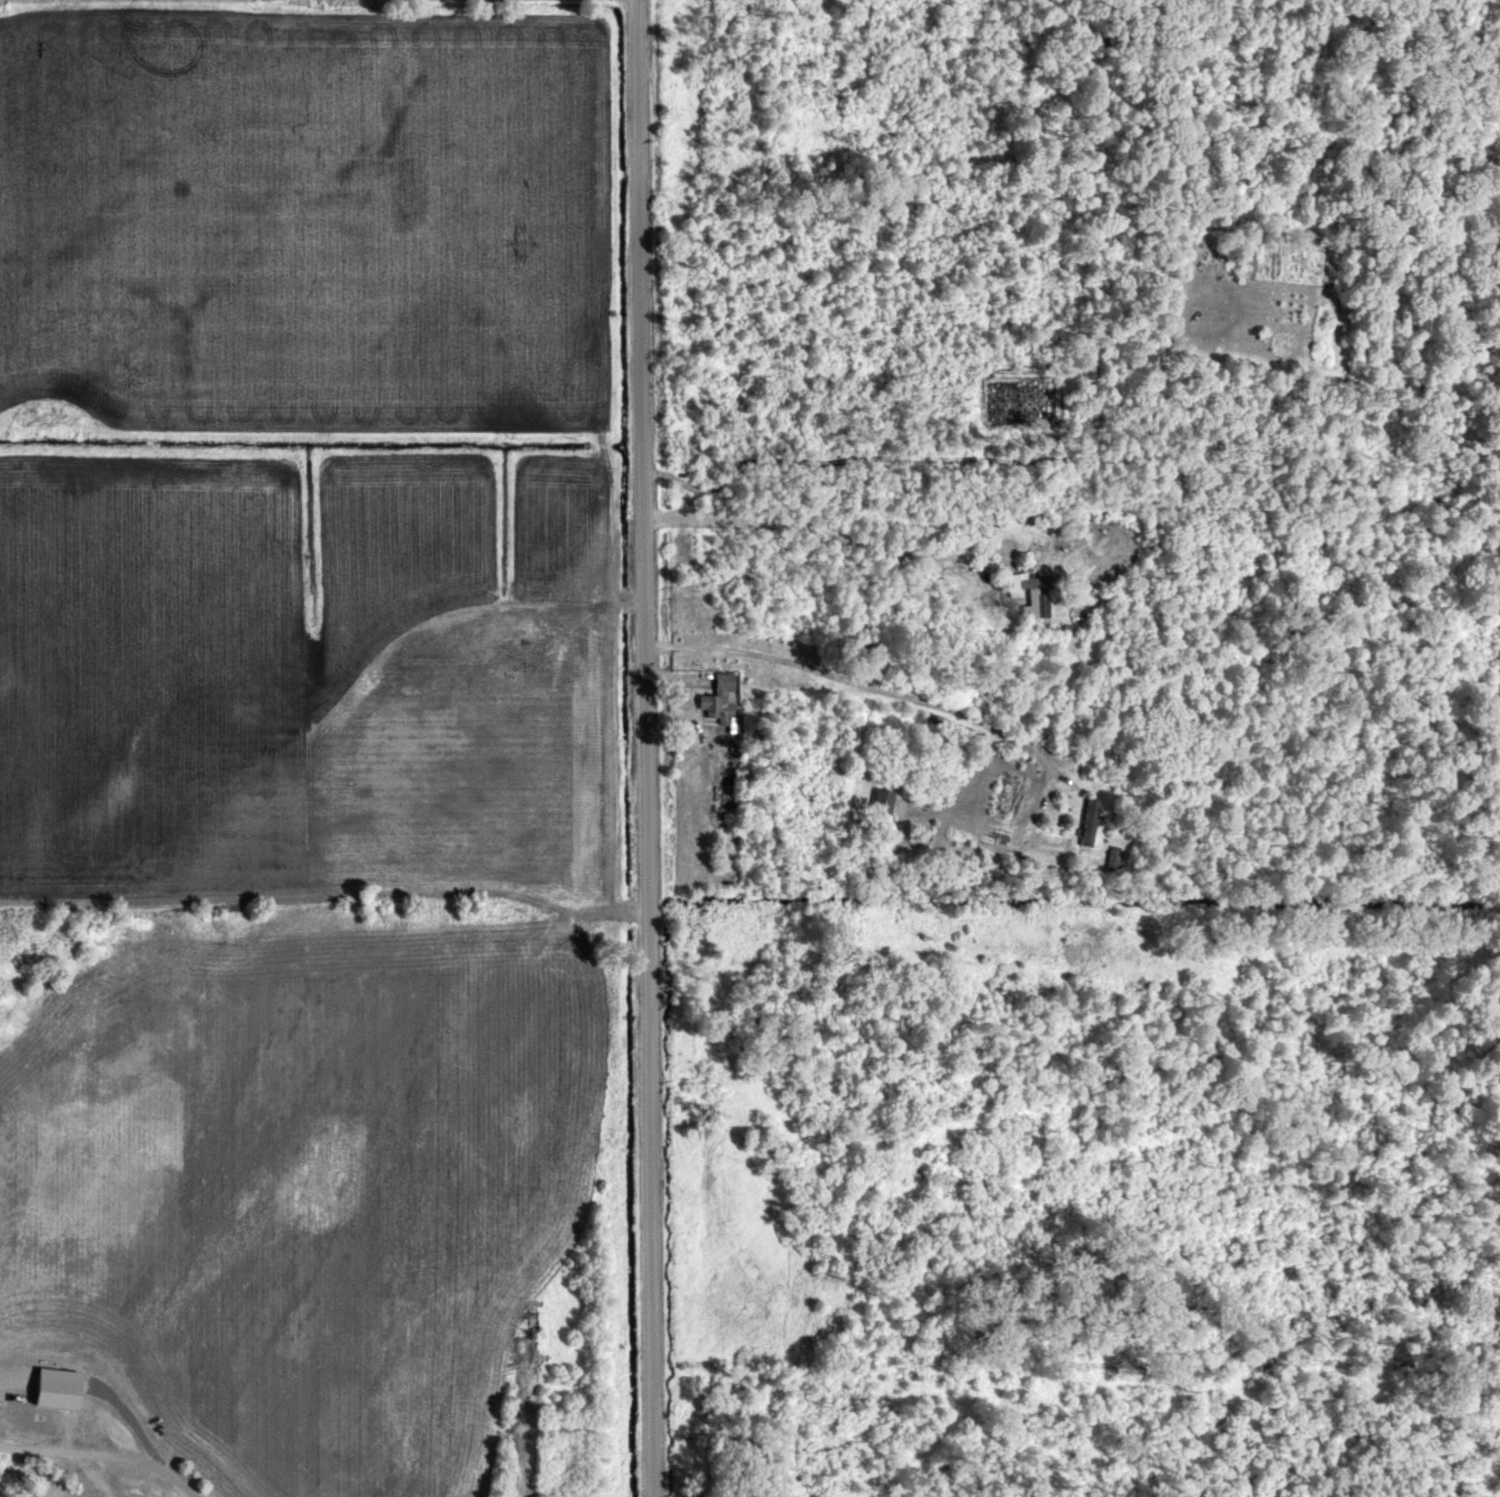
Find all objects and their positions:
road: (835, 534)
building: (1027, 592)
road: (857, 680)
building: (718, 699)
road: (644, 748)
building: (881, 800)
building: (1088, 821)
building: (1112, 856)
building: (54, 1388)
road: (143, 1455)

